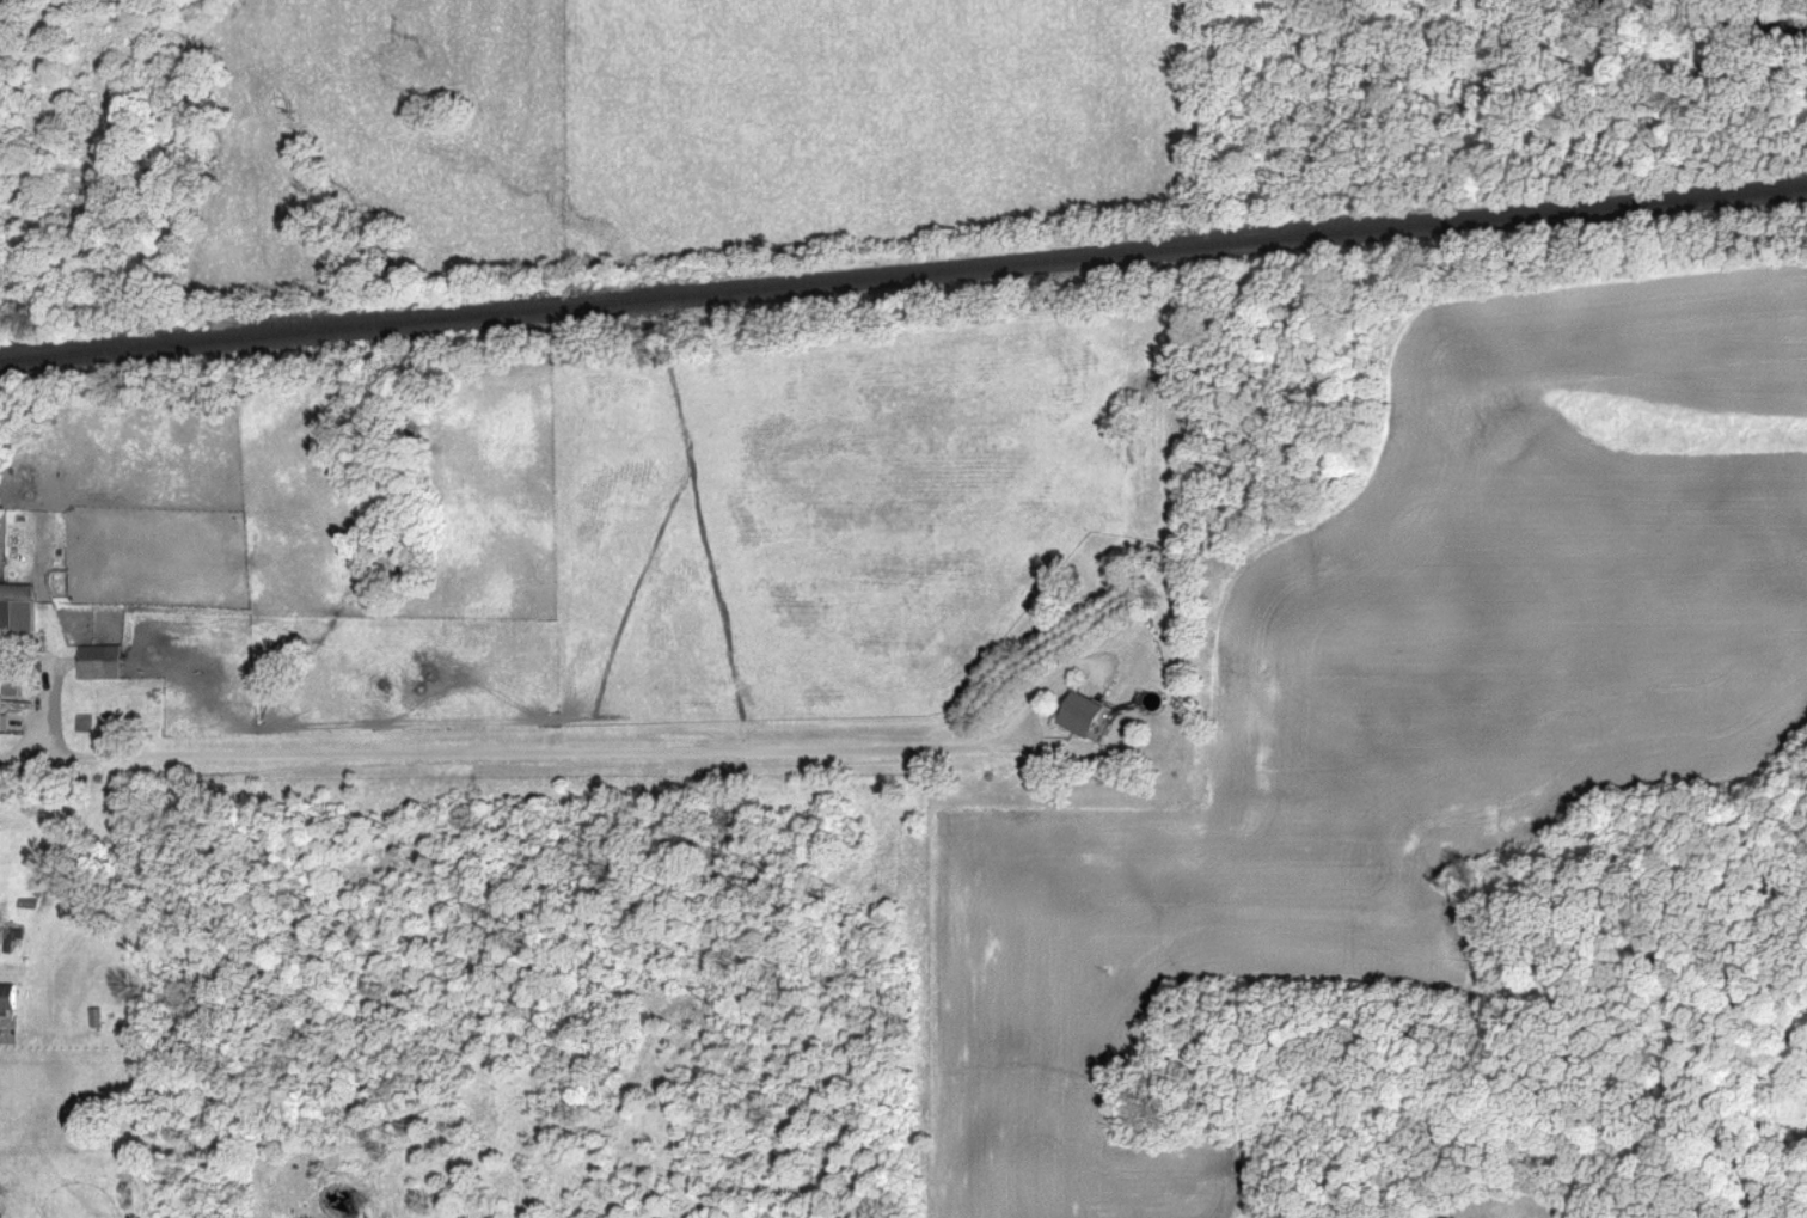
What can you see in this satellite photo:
railway: (903, 274)
building: (18, 614)
building: (104, 663)
building: (1086, 716)
building: (1, 724)
road: (599, 752)
road: (32, 754)
building: (10, 998)

